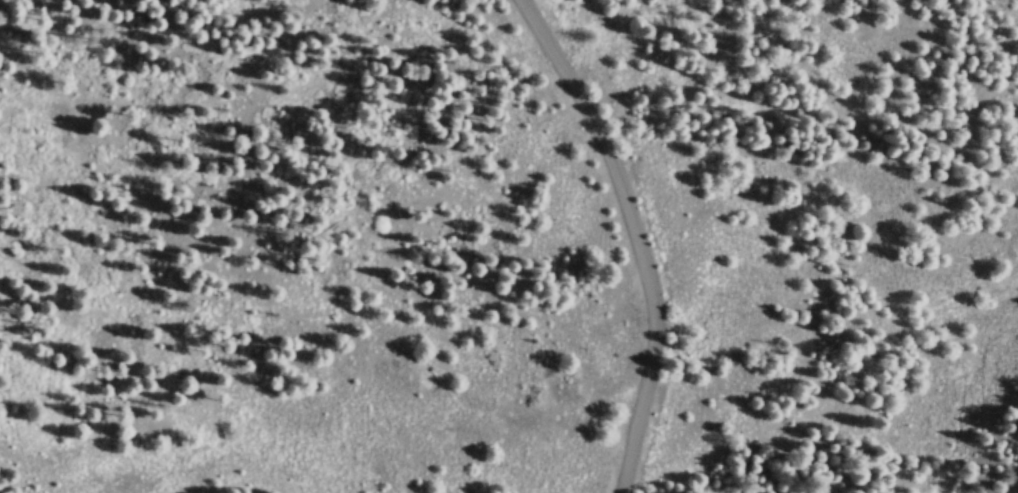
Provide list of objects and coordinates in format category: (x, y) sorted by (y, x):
road: (634, 235)

